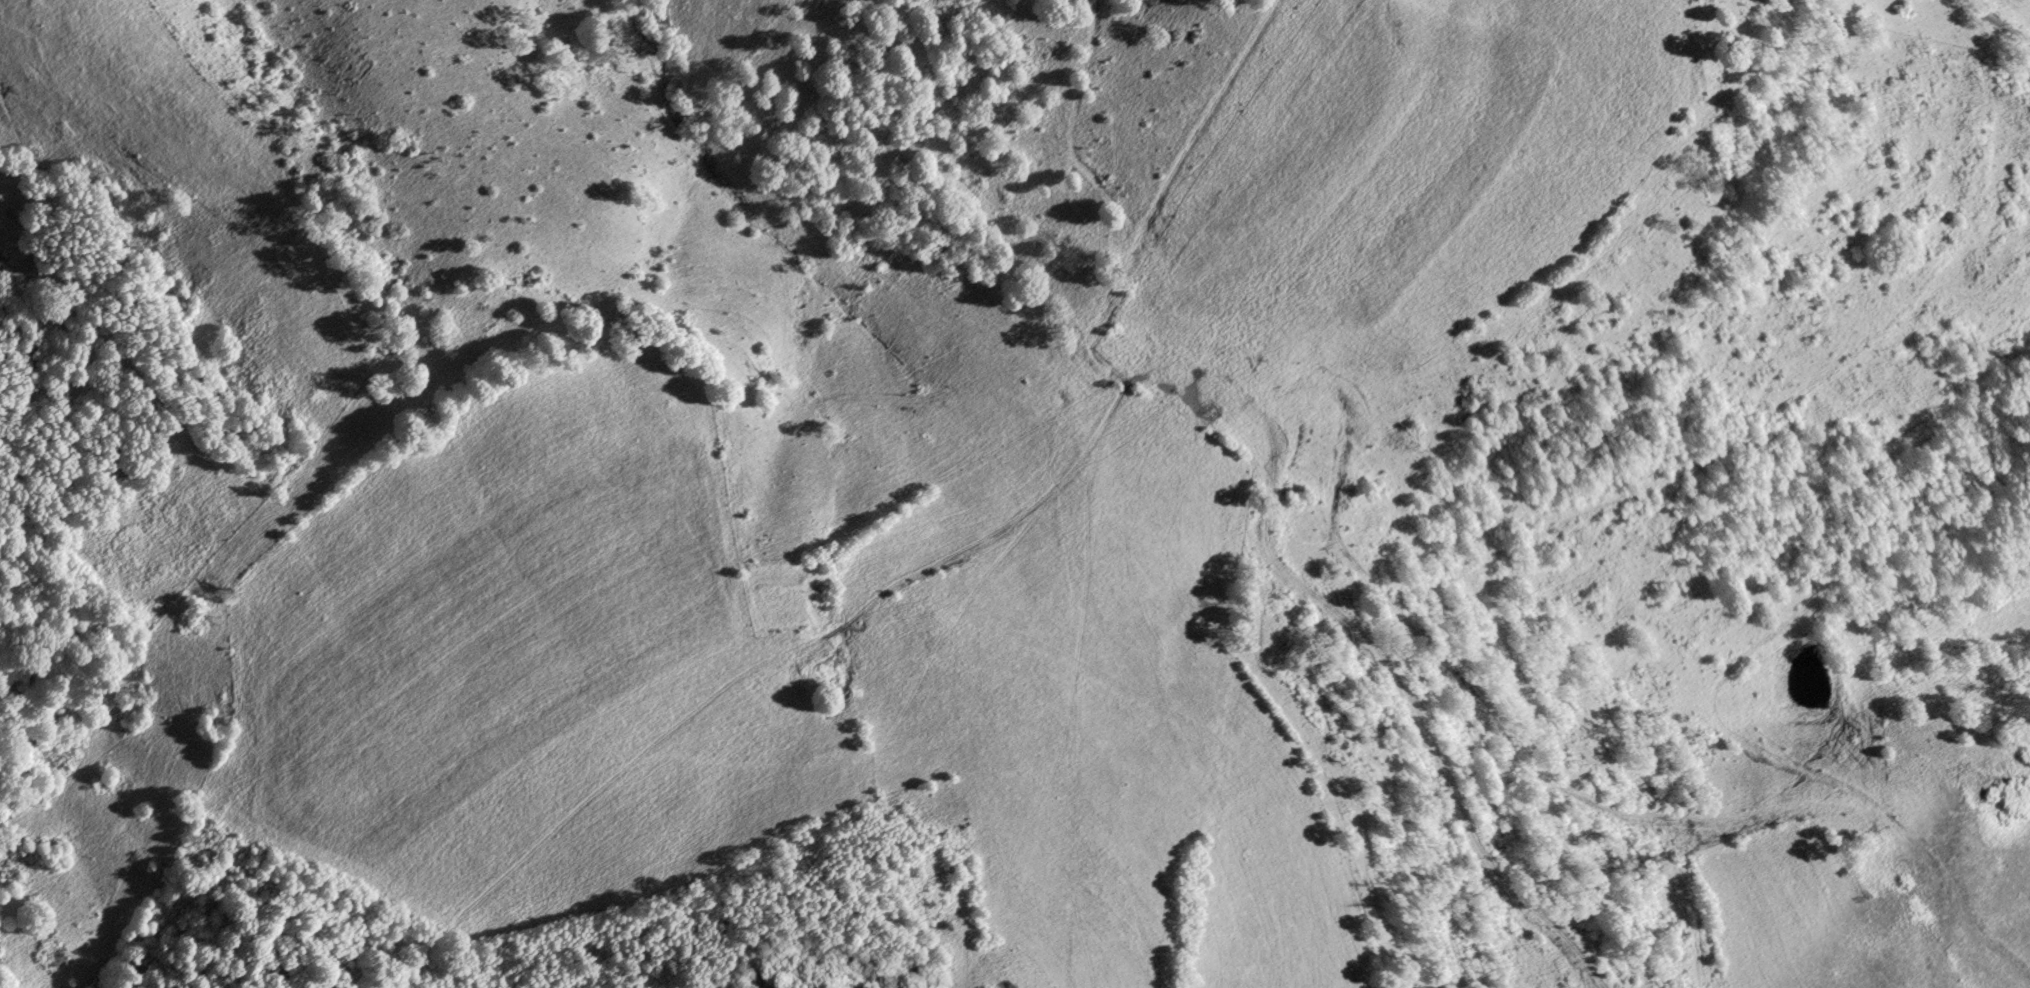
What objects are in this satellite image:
road: (1271, 442)
building: (55, 967)

